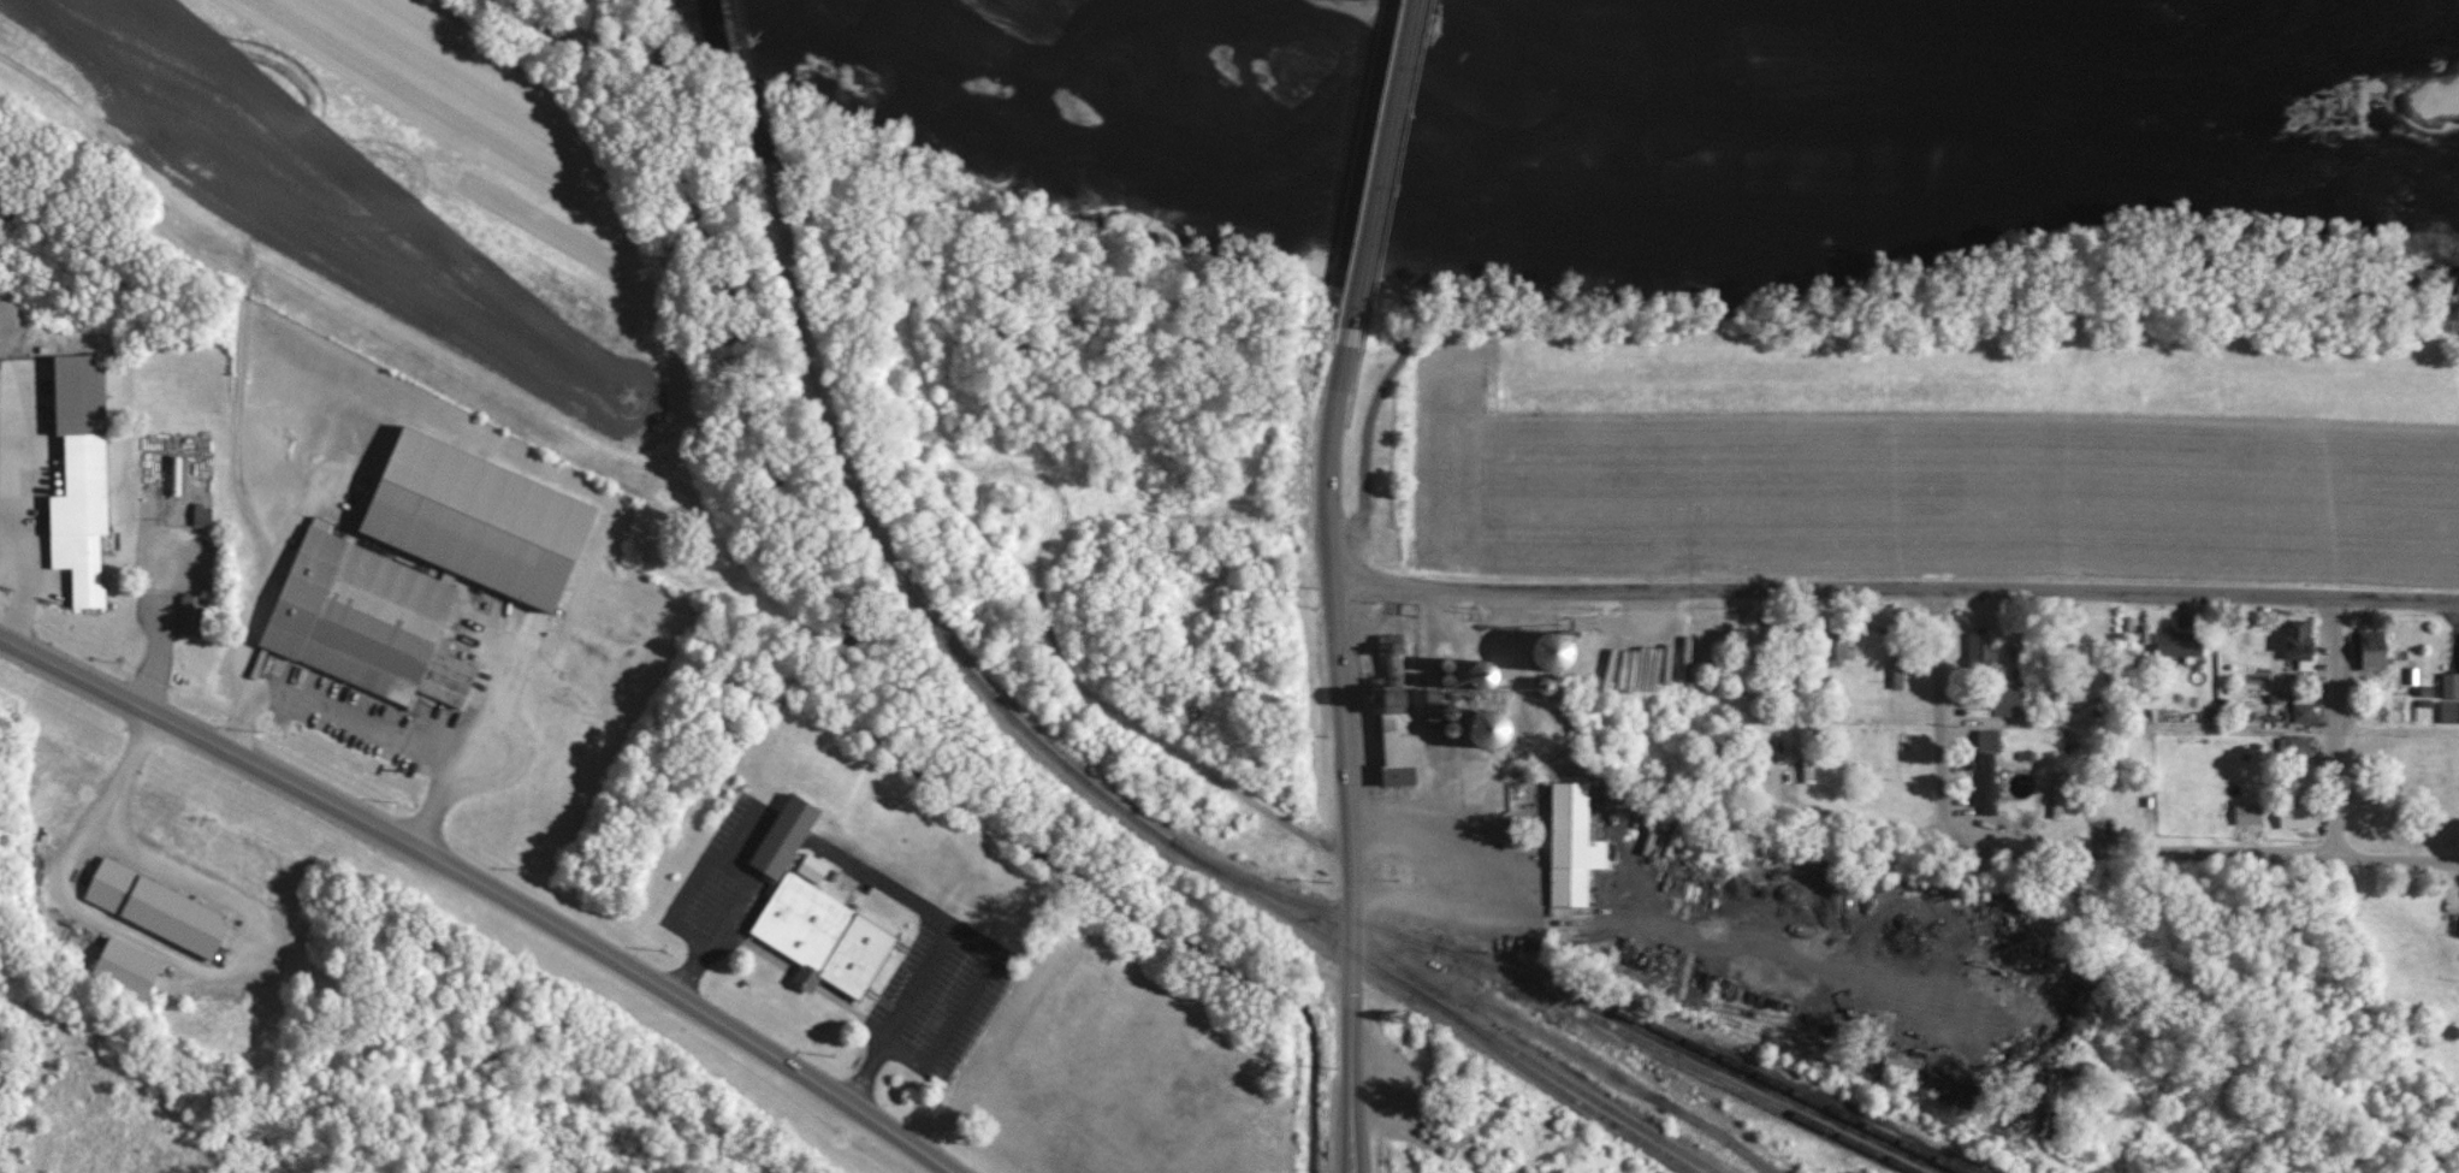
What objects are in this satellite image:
railway: (751, 82)
river: (1787, 84)
road: (1381, 172)
road: (1369, 422)
building: (82, 478)
building: (202, 516)
building: (356, 570)
road: (1892, 577)
building: (192, 616)
building: (2301, 641)
building: (2180, 644)
building: (1837, 645)
building: (1981, 648)
building: (1391, 650)
building: (2375, 650)
road: (154, 657)
building: (1489, 671)
building: (2449, 698)
building: (2007, 701)
building: (1440, 706)
building: (2303, 707)
road: (2330, 717)
road: (361, 724)
building: (1497, 725)
building: (1398, 731)
building: (1989, 740)
building: (2300, 745)
road: (1932, 751)
building: (1808, 756)
road: (1343, 757)
railway: (1097, 793)
building: (2060, 794)
building: (2248, 813)
building: (2298, 814)
building: (786, 837)
road: (2250, 842)
building: (1574, 843)
building: (813, 867)
road: (694, 878)
road: (492, 883)
building: (158, 910)
road: (964, 935)
building: (824, 936)
building: (129, 968)
railway: (1610, 1013)
road: (1568, 1047)
railway: (1528, 1070)

